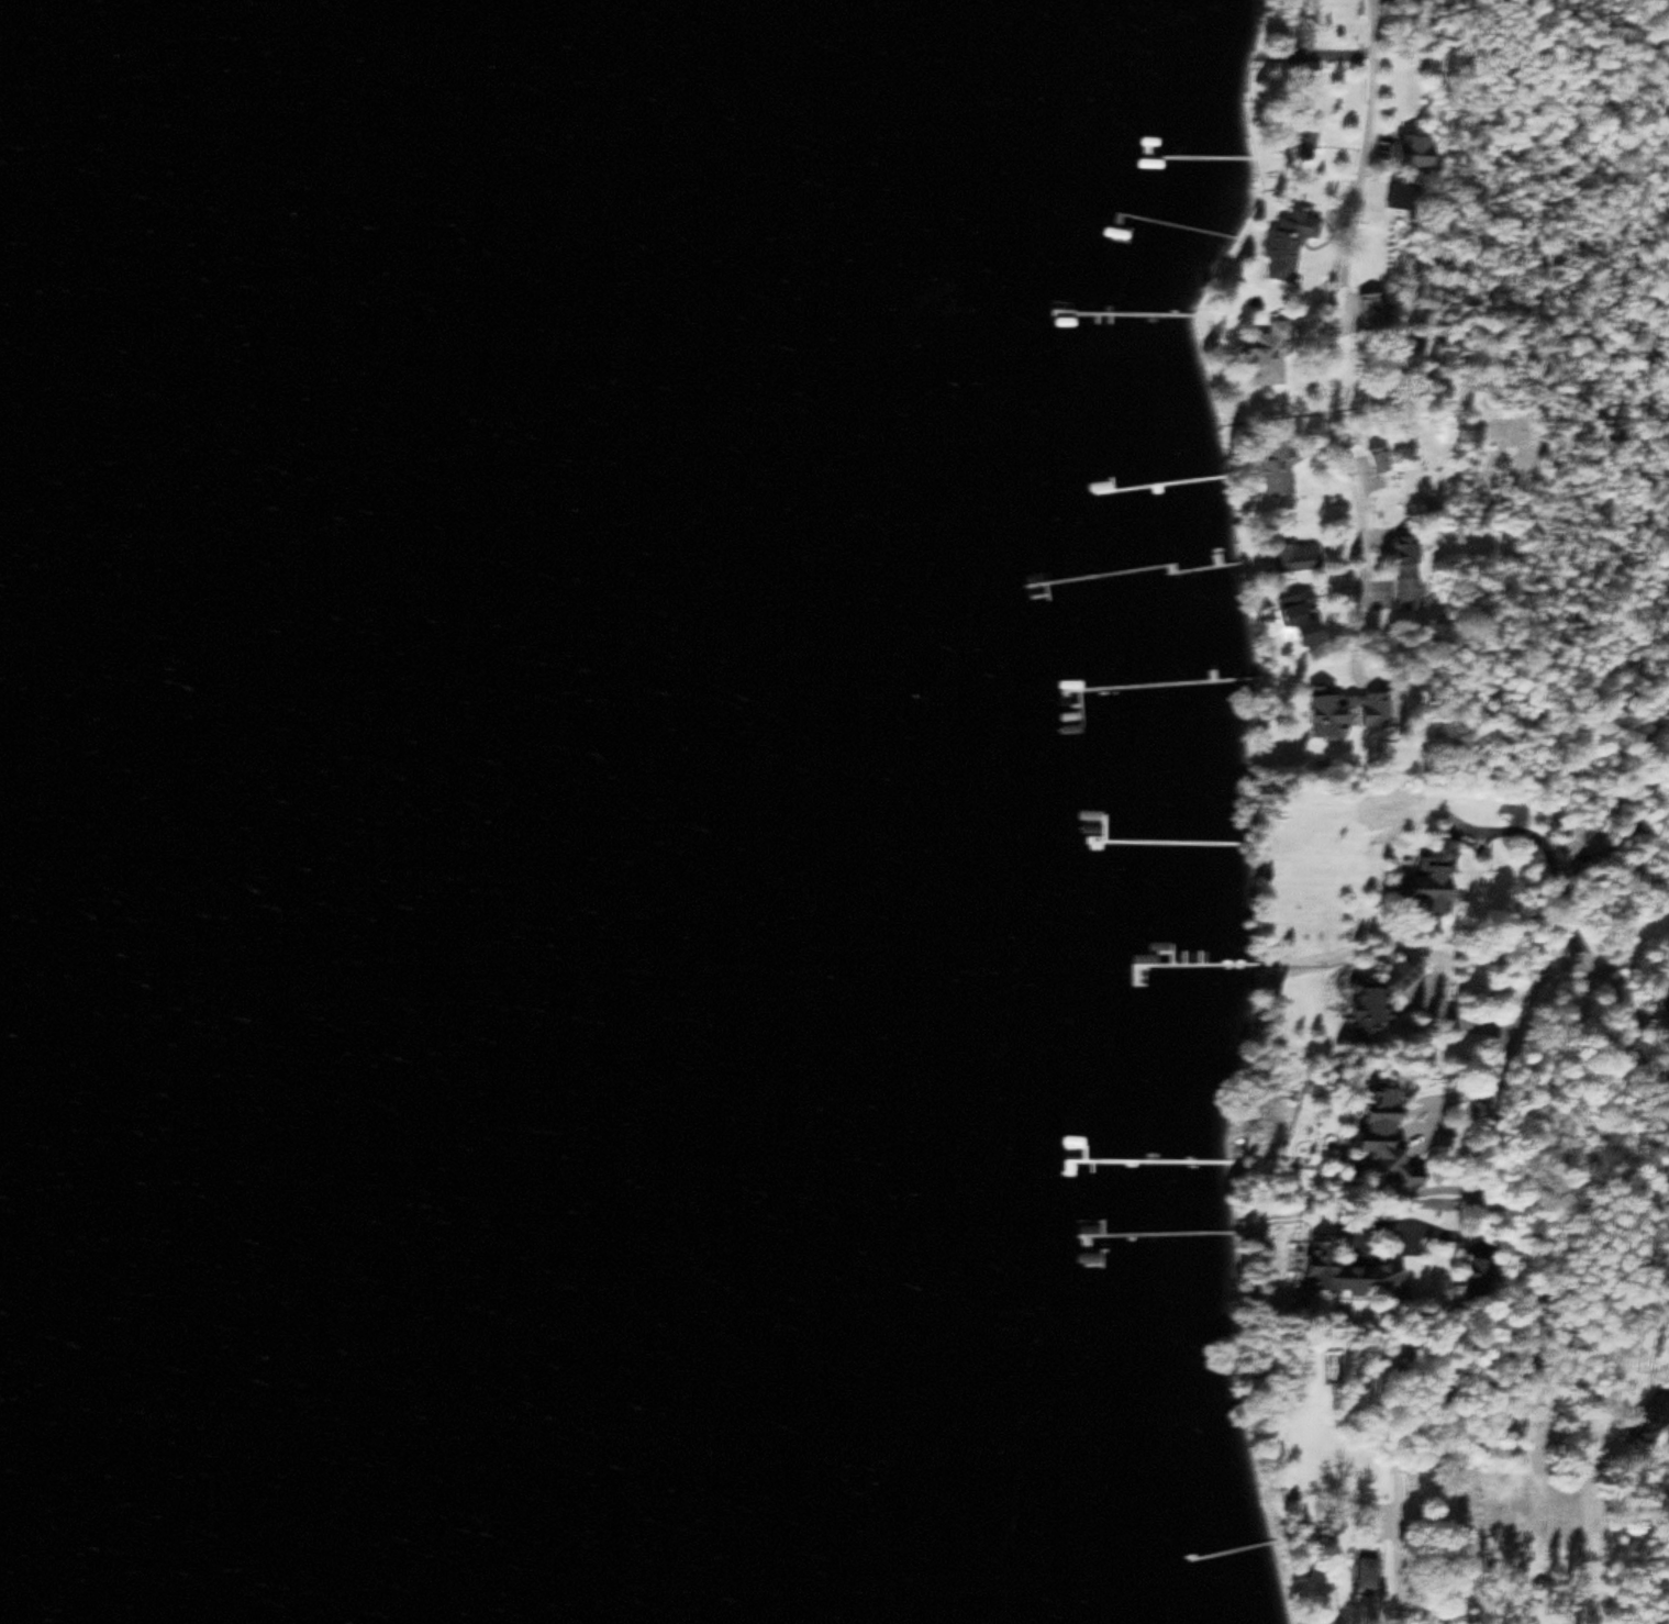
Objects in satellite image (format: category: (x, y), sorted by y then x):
building: (1301, 122)
building: (1405, 155)
building: (1402, 193)
building: (1294, 237)
building: (1371, 311)
road: (1333, 313)
building: (1267, 354)
building: (1376, 458)
building: (1273, 470)
building: (1404, 550)
building: (1293, 559)
building: (1405, 593)
building: (1303, 626)
road: (1357, 646)
building: (1343, 709)
road: (1543, 849)
building: (1433, 874)
road: (1532, 989)
building: (1380, 998)
road: (1453, 1020)
road: (1438, 1095)
building: (1389, 1134)
building: (344, 1208)
road: (1418, 1223)
building: (269, 1260)
building: (1345, 1269)
building: (1476, 1271)
building: (160, 1281)
building: (620, 1283)
road: (1342, 1490)
building: (1493, 1510)
road: (1583, 1524)
road: (1393, 1540)
building: (1358, 1572)

